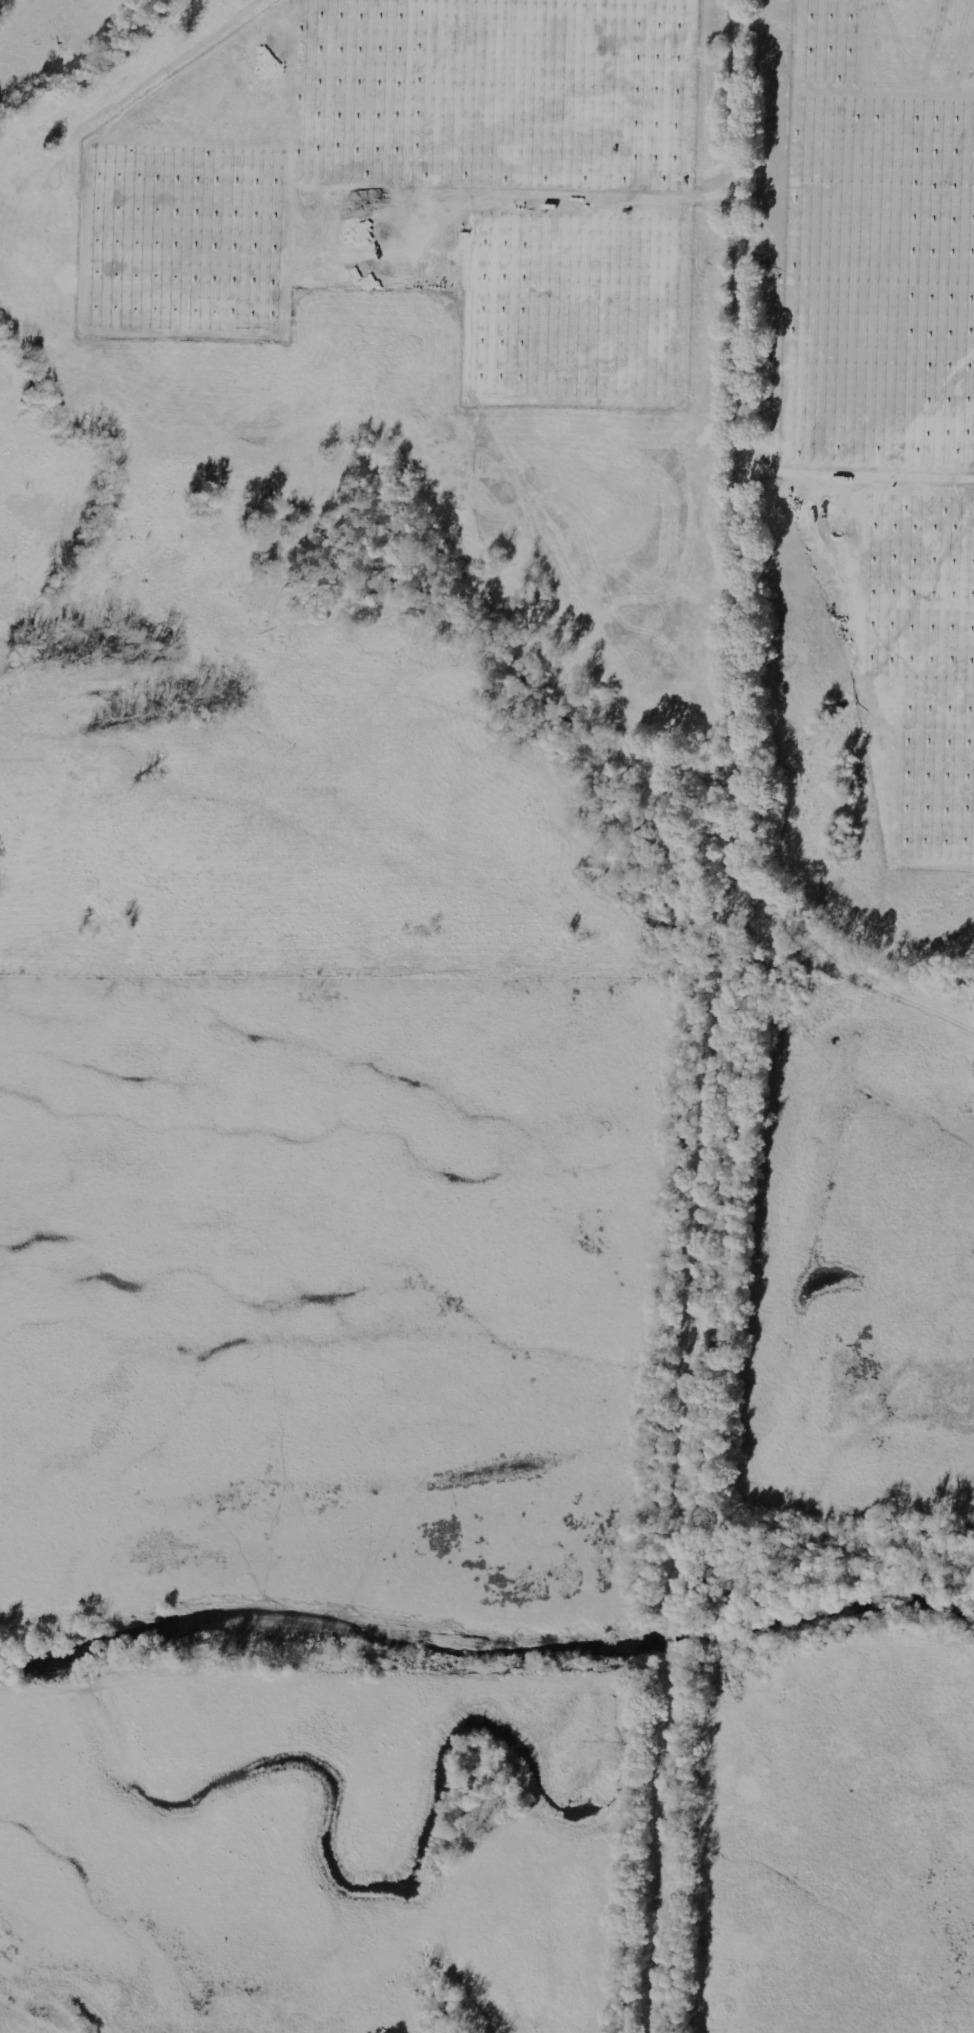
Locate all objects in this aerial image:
solar farm: (418, 187)
solar farm: (887, 390)
road: (732, 1017)

